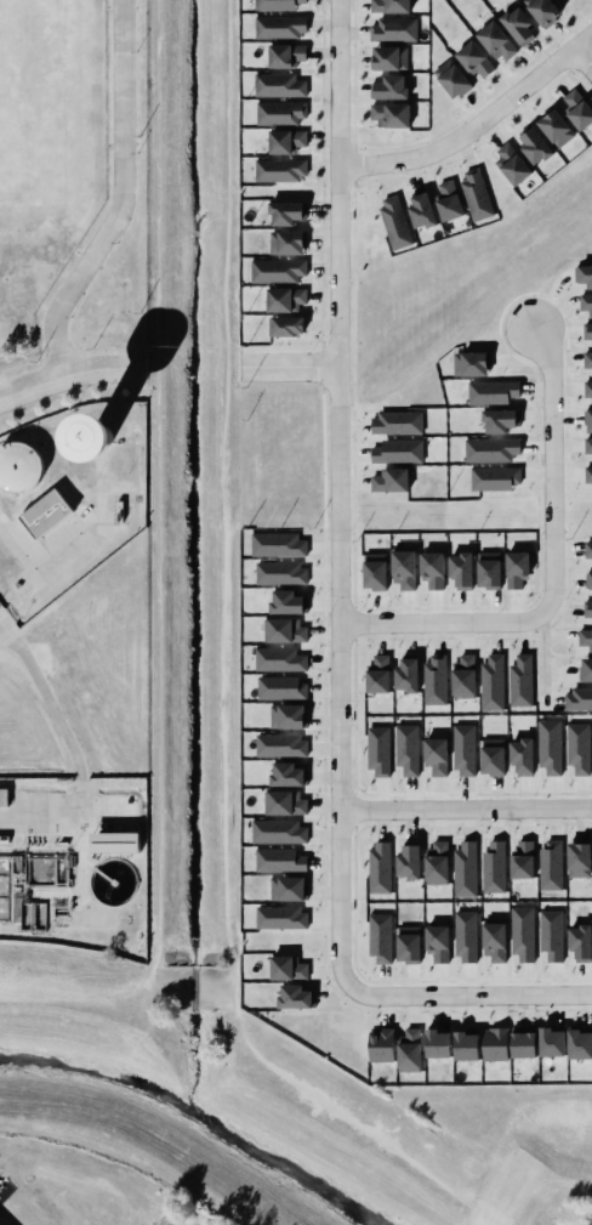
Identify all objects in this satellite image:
building: (274, 4)
building: (388, 5)
building: (543, 11)
building: (278, 25)
building: (518, 25)
building: (392, 30)
building: (496, 41)
building: (285, 55)
building: (388, 57)
building: (476, 59)
road: (582, 59)
building: (454, 81)
building: (277, 84)
building: (389, 87)
park: (49, 97)
building: (577, 109)
building: (280, 112)
building: (389, 115)
road: (476, 125)
building: (556, 129)
building: (285, 141)
building: (534, 144)
building: (512, 163)
building: (279, 170)
building: (476, 193)
road: (123, 198)
building: (448, 199)
building: (421, 209)
building: (286, 212)
building: (394, 222)
building: (286, 242)
building: (277, 271)
building: (585, 274)
building: (284, 299)
building: (585, 304)
building: (286, 325)
building: (587, 334)
building: (587, 359)
building: (471, 363)
road: (289, 367)
road: (76, 373)
building: (491, 391)
building: (587, 391)
road: (7, 395)
road: (7, 396)
building: (499, 420)
building: (588, 420)
building: (395, 422)
water tower: (90, 436)
building: (490, 449)
building: (588, 449)
building: (398, 450)
building: (19, 469)
road: (546, 471)
building: (587, 473)
building: (495, 478)
building: (388, 480)
road: (337, 494)
building: (45, 514)
building: (277, 544)
building: (587, 550)
road: (82, 560)
building: (403, 568)
building: (516, 568)
building: (432, 569)
building: (461, 569)
building: (488, 569)
building: (374, 571)
building: (280, 573)
building: (590, 582)
building: (286, 602)
building: (587, 611)
road: (437, 623)
building: (285, 630)
building: (585, 639)
road: (536, 656)
building: (278, 659)
building: (586, 669)
building: (377, 674)
building: (406, 674)
building: (463, 676)
building: (434, 679)
building: (520, 681)
building: (491, 682)
building: (281, 688)
building: (577, 698)
building: (286, 716)
building: (280, 745)
building: (550, 747)
building: (577, 747)
building: (406, 748)
building: (463, 749)
building: (378, 750)
building: (436, 755)
building: (520, 755)
building: (491, 756)
road: (78, 765)
building: (286, 775)
building: (4, 796)
building: (285, 803)
road: (465, 809)
road: (40, 817)
building: (278, 832)
building: (114, 841)
building: (279, 860)
building: (577, 860)
building: (408, 861)
building: (522, 861)
building: (436, 862)
wastewater plant: (74, 864)
building: (550, 864)
building: (378, 867)
building: (493, 867)
building: (465, 869)
building: (1, 885)
building: (288, 887)
road: (39, 898)
building: (280, 918)
building: (522, 932)
building: (551, 934)
building: (465, 936)
building: (378, 937)
building: (580, 941)
building: (437, 942)
building: (494, 942)
building: (408, 943)
building: (286, 968)
road: (468, 996)
building: (295, 997)
building: (551, 1040)
building: (522, 1042)
building: (579, 1042)
building: (437, 1043)
building: (494, 1043)
building: (380, 1044)
building: (466, 1044)
building: (408, 1050)

